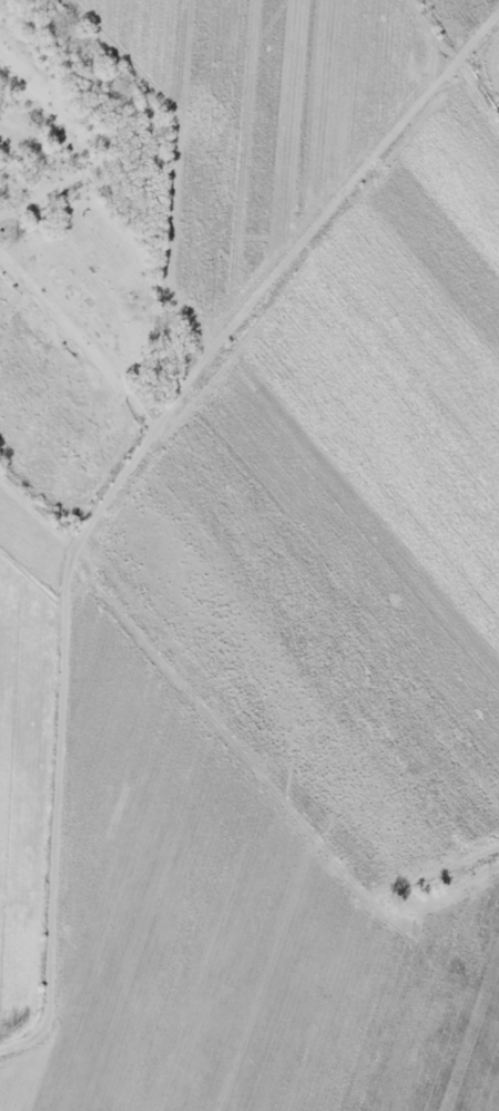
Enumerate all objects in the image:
road: (115, 479)

